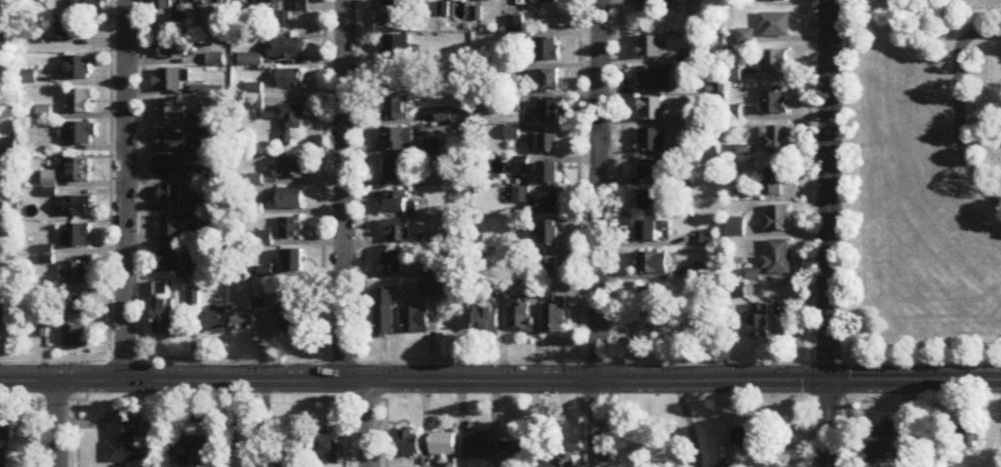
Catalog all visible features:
building: (425, 0)
building: (490, 0)
building: (777, 0)
building: (3, 1)
building: (191, 1)
building: (275, 1)
building: (683, 1)
building: (216, 2)
building: (246, 2)
building: (549, 2)
building: (646, 3)
building: (94, 4)
building: (160, 4)
building: (304, 5)
building: (776, 25)
building: (68, 28)
building: (2, 29)
building: (747, 37)
building: (651, 47)
building: (173, 48)
building: (395, 48)
building: (288, 49)
building: (548, 50)
building: (250, 60)
building: (776, 61)
building: (78, 68)
building: (291, 79)
building: (656, 79)
building: (171, 80)
building: (549, 81)
building: (208, 91)
building: (79, 101)
building: (774, 102)
building: (396, 109)
building: (654, 109)
building: (171, 110)
building: (550, 112)
building: (290, 122)
building: (79, 134)
building: (777, 139)
building: (398, 140)
building: (172, 141)
building: (653, 141)
building: (547, 143)
building: (9, 146)
building: (172, 167)
building: (289, 169)
building: (654, 170)
building: (77, 171)
building: (395, 171)
building: (549, 175)
building: (776, 178)
park: (926, 178)
road: (125, 189)
road: (345, 189)
building: (170, 197)
building: (288, 199)
building: (651, 201)
building: (396, 203)
building: (550, 205)
building: (77, 207)
building: (1, 211)
building: (778, 219)
building: (171, 227)
building: (736, 228)
building: (291, 229)
building: (396, 233)
road: (598, 233)
building: (648, 233)
road: (807, 233)
road: (826, 233)
building: (549, 235)
building: (77, 236)
building: (708, 238)
building: (46, 255)
building: (169, 255)
building: (778, 258)
building: (292, 262)
building: (392, 263)
building: (652, 264)
building: (549, 267)
building: (702, 271)
building: (76, 275)
building: (272, 290)
building: (737, 291)
building: (550, 295)
building: (649, 300)
building: (74, 306)
building: (164, 309)
building: (386, 313)
building: (520, 319)
building: (554, 320)
building: (217, 321)
building: (290, 321)
building: (416, 321)
building: (245, 322)
building: (486, 322)
building: (758, 322)
building: (0, 334)
building: (75, 337)
road: (500, 357)
road: (500, 380)
road: (844, 412)
road: (57, 423)
road: (369, 423)
building: (750, 436)
building: (968, 436)
building: (124, 438)
building: (882, 441)
building: (8, 443)
building: (408, 443)
building: (442, 445)
building: (189, 447)
building: (477, 447)
building: (326, 449)
building: (512, 453)
building: (289, 459)
building: (566, 460)

